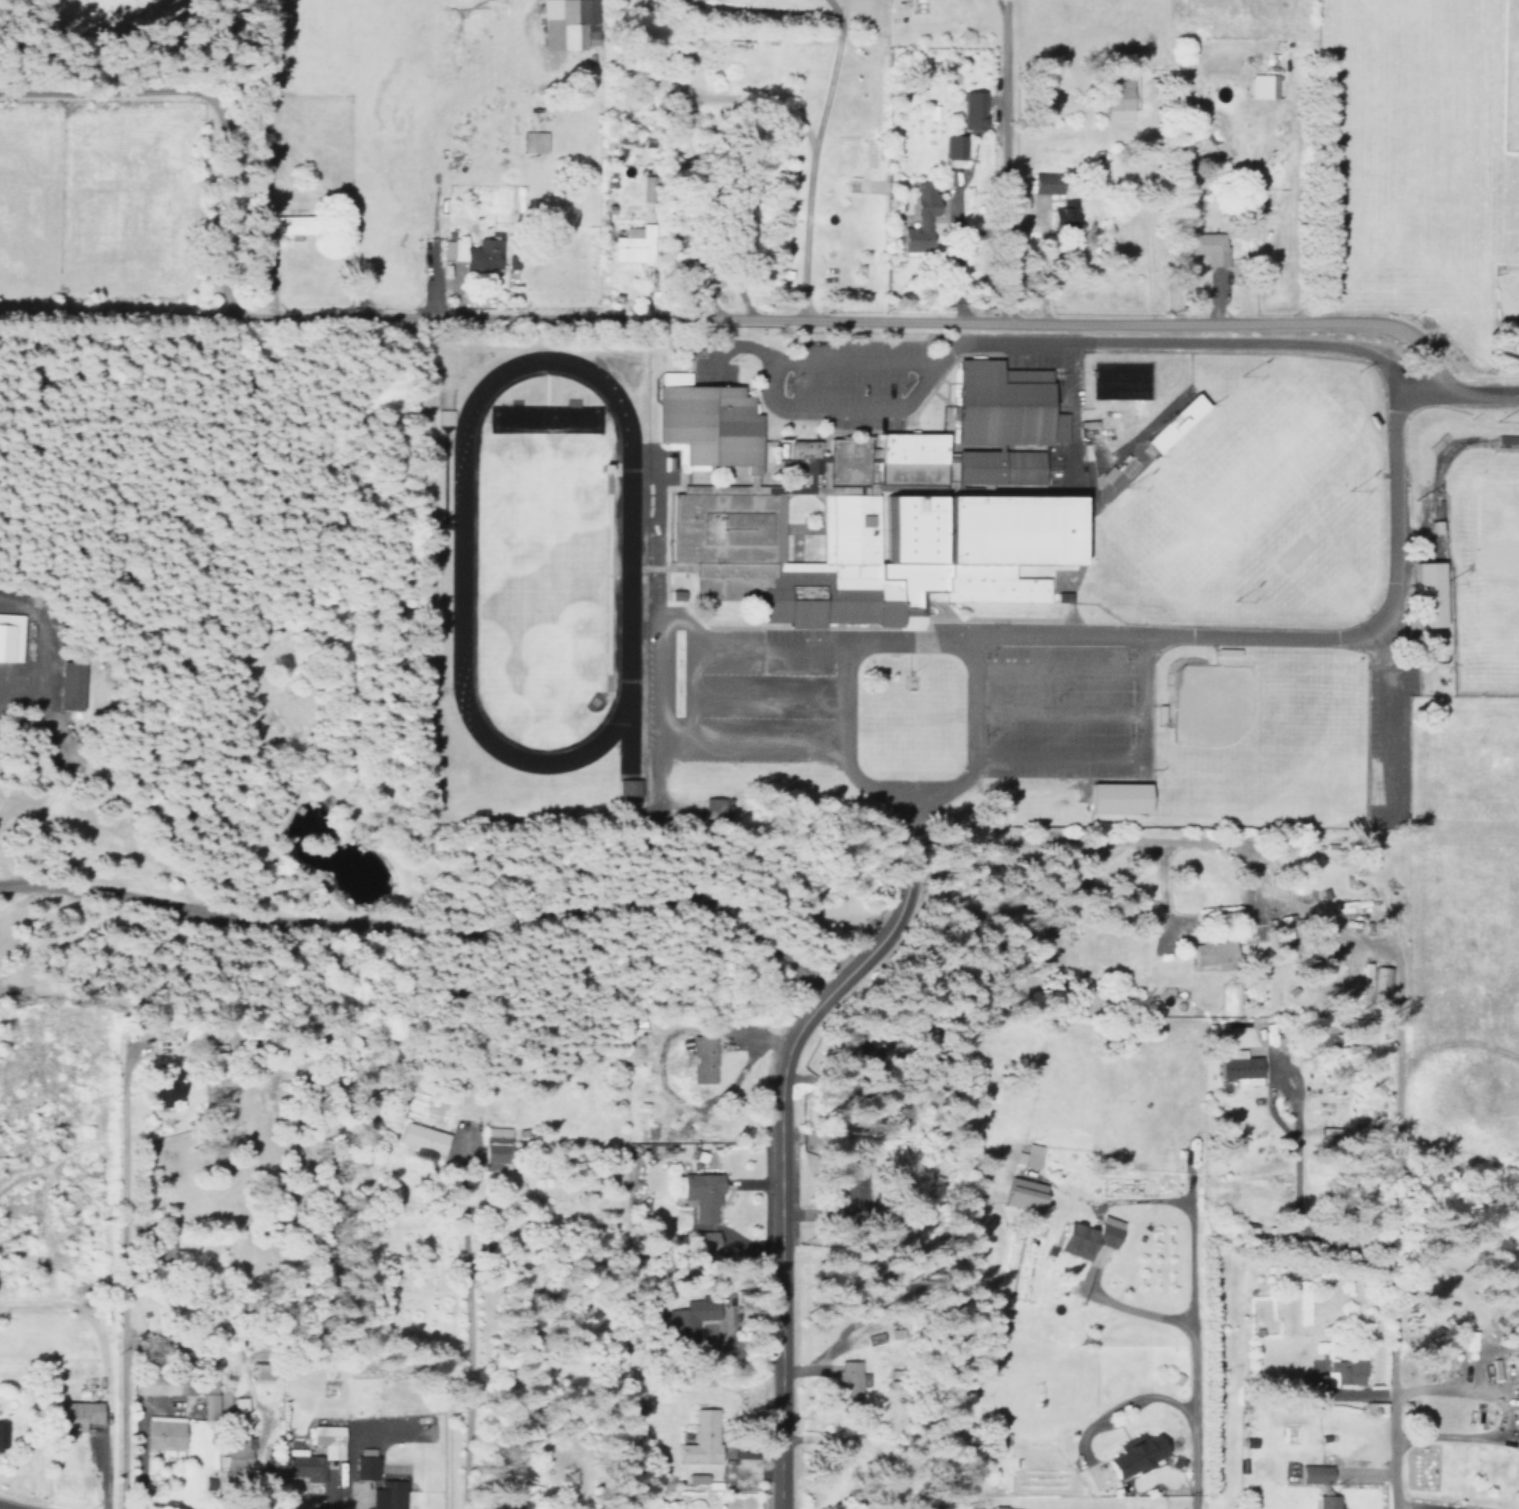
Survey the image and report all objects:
building: (565, 23)
building: (1267, 86)
road: (102, 93)
building: (673, 99)
building: (1120, 105)
building: (972, 110)
building: (534, 141)
building: (953, 146)
road: (207, 160)
road: (813, 161)
road: (997, 162)
building: (1046, 182)
building: (920, 217)
building: (1063, 217)
building: (267, 224)
building: (290, 224)
building: (635, 244)
building: (1201, 245)
building: (472, 252)
building: (511, 262)
road: (739, 322)
road: (1021, 344)
road: (969, 351)
parking lot: (708, 360)
road: (852, 364)
parking lot: (925, 386)
road: (1455, 395)
building: (1001, 404)
road: (1393, 410)
road: (944, 411)
building: (445, 417)
building: (705, 420)
road: (817, 420)
building: (1173, 423)
road: (778, 435)
road: (807, 437)
building: (1506, 439)
road: (764, 449)
building: (1126, 453)
road: (1383, 453)
building: (800, 457)
building: (908, 457)
building: (847, 460)
building: (998, 463)
road: (1443, 464)
road: (1399, 466)
building: (1106, 472)
road: (781, 475)
building: (749, 478)
stadium: (654, 480)
building: (842, 487)
building: (1019, 487)
road: (1392, 489)
road: (1080, 490)
park: (1244, 498)
building: (1432, 515)
road: (1091, 517)
building: (1008, 527)
road: (1439, 528)
road: (786, 529)
road: (791, 531)
road: (920, 544)
road: (913, 548)
park: (1493, 554)
track: (619, 560)
building: (819, 561)
park: (1481, 572)
road: (1401, 577)
road: (937, 591)
building: (674, 593)
building: (1425, 593)
road: (936, 603)
road: (1068, 622)
road: (825, 627)
road: (1189, 634)
building: (9, 636)
road: (1333, 636)
road: (1196, 638)
road: (1245, 643)
road: (51, 650)
road: (688, 653)
road: (1055, 668)
building: (67, 683)
road: (844, 683)
parking lot: (736, 691)
road: (1443, 694)
road: (688, 697)
road: (754, 697)
road: (766, 701)
parking lot: (1066, 701)
road: (1155, 702)
park: (1209, 704)
road: (1056, 712)
road: (1152, 719)
road: (653, 731)
road: (970, 735)
road: (749, 742)
road: (1115, 757)
building: (624, 791)
building: (1114, 798)
building: (710, 806)
road: (1294, 825)
road: (1167, 842)
road: (1186, 921)
road: (431, 928)
building: (1157, 944)
building: (1211, 954)
building: (1380, 984)
building: (1327, 1039)
road: (1455, 1042)
building: (703, 1058)
building: (213, 1060)
building: (1237, 1063)
building: (162, 1094)
road: (780, 1128)
building: (495, 1148)
building: (1028, 1160)
building: (702, 1194)
building: (1020, 1194)
road: (1392, 1197)
road: (1103, 1199)
building: (1084, 1241)
building: (703, 1242)
road: (124, 1256)
road: (1121, 1304)
building: (687, 1317)
road: (467, 1320)
road: (1190, 1335)
road: (1092, 1355)
road: (103, 1364)
building: (177, 1377)
building: (1333, 1377)
building: (850, 1381)
building: (223, 1403)
road: (1507, 1411)
road: (1101, 1413)
building: (83, 1414)
building: (166, 1434)
building: (3, 1435)
building: (701, 1438)
building: (314, 1444)
building: (236, 1450)
building: (1133, 1453)
building: (366, 1470)
building: (1314, 1474)
building: (1517, 1476)
building: (698, 1481)
building: (394, 1501)
building: (1327, 1502)
building: (513, 1507)
road: (1416, 1507)

